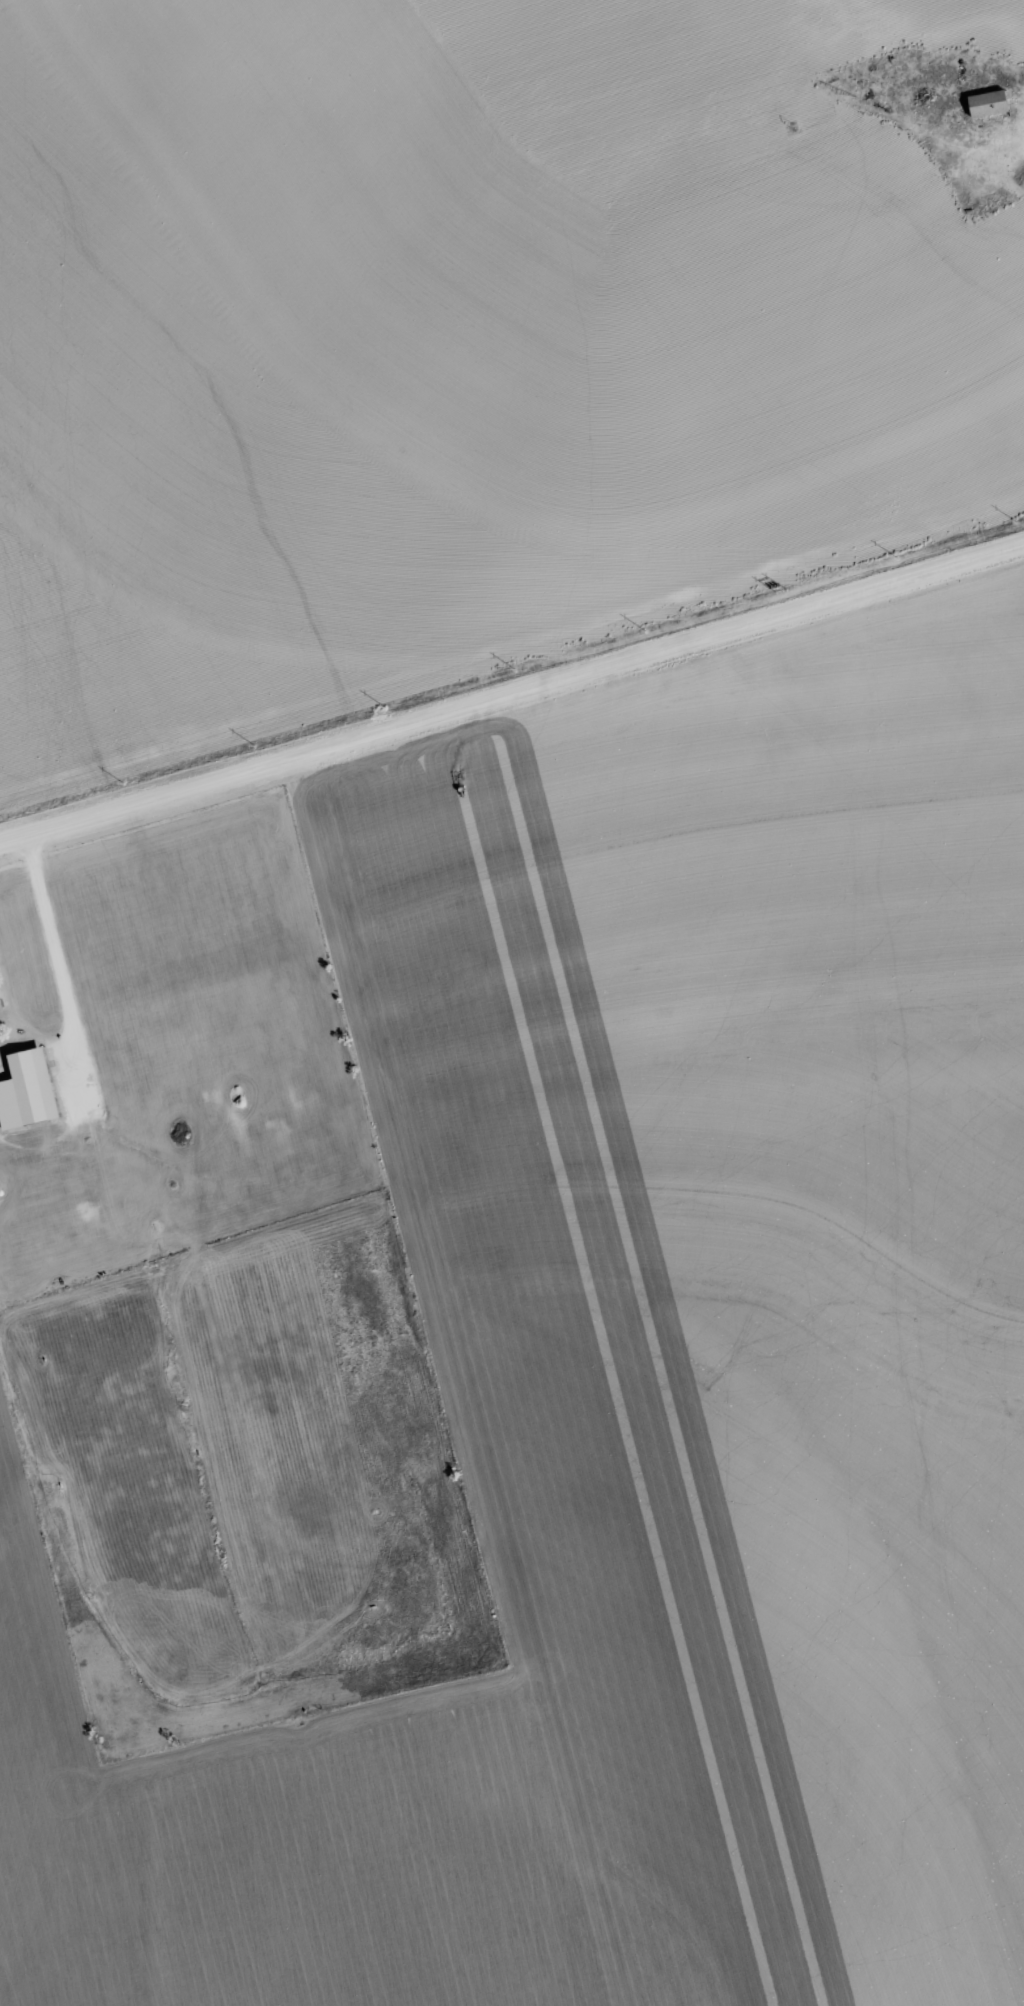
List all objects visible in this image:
building: (991, 103)
road: (510, 693)
building: (36, 1084)

